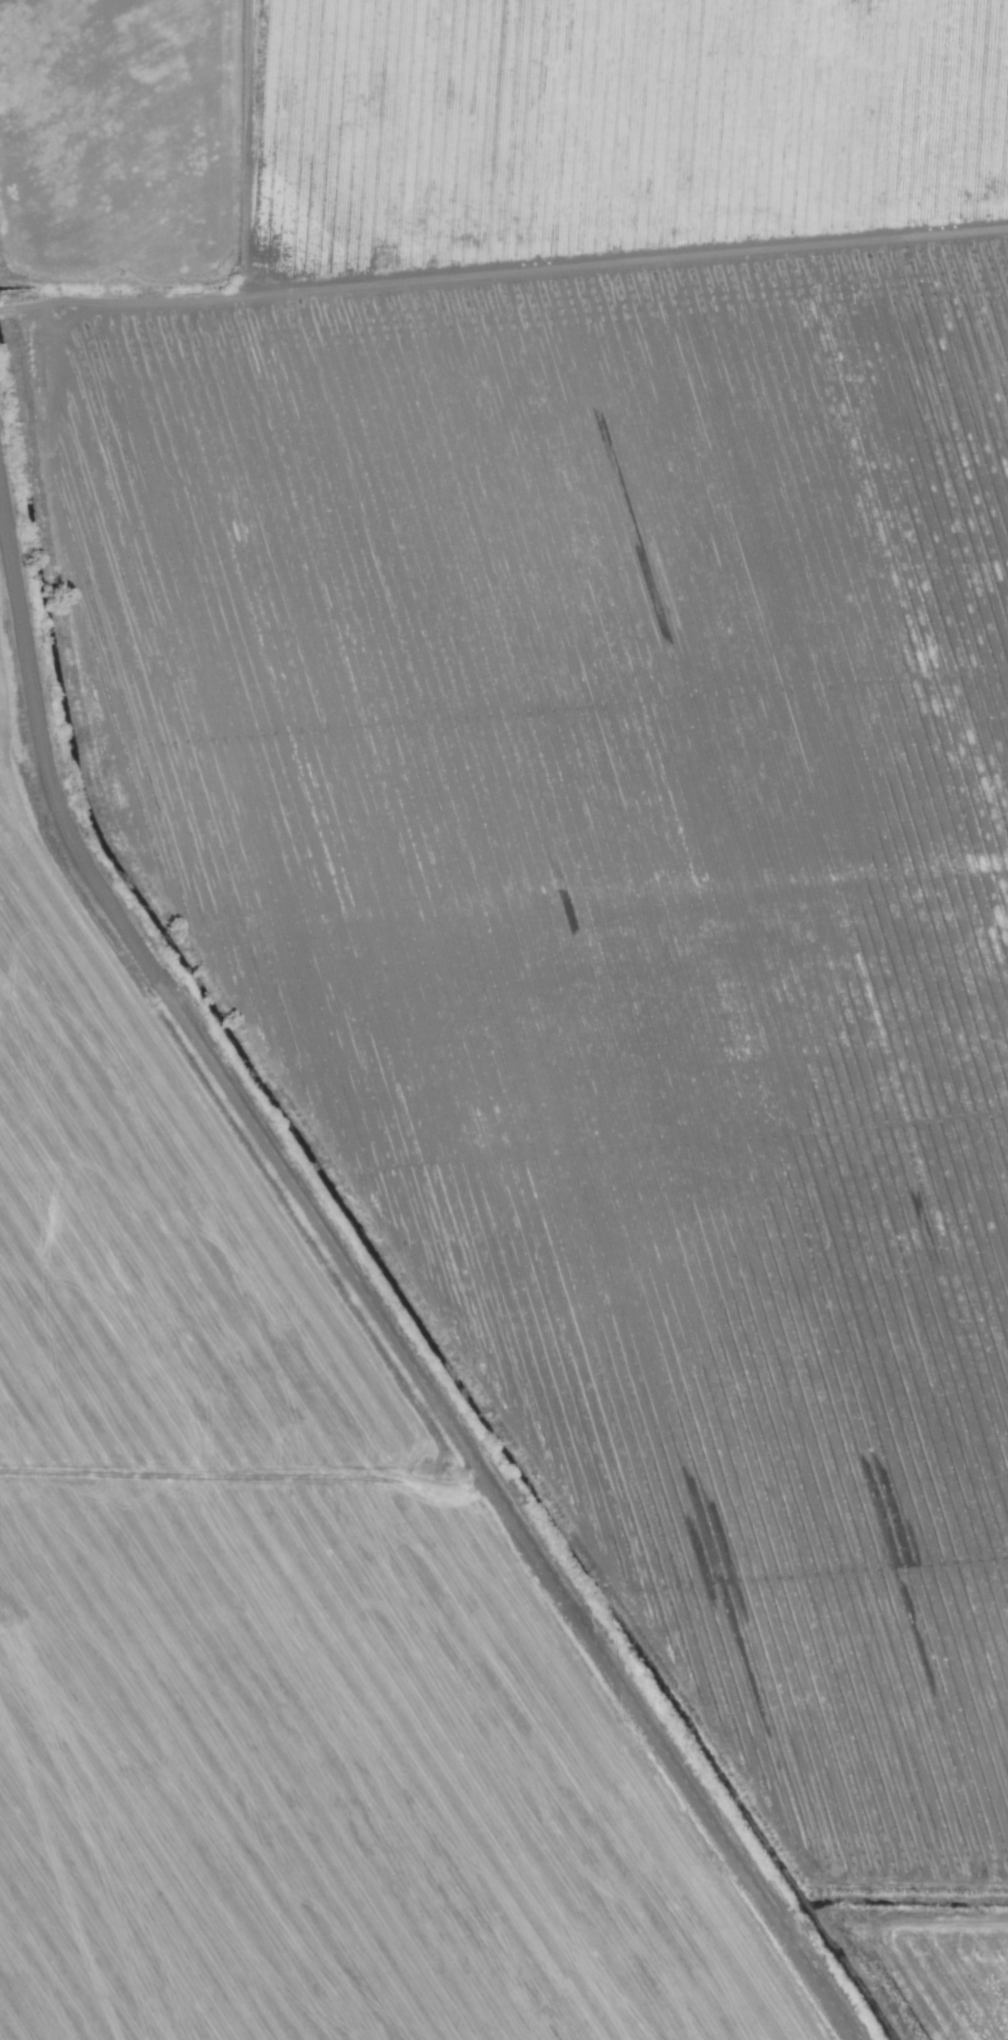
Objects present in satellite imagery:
road: (139, 306)
crop: (504, 1020)
road: (365, 1291)

